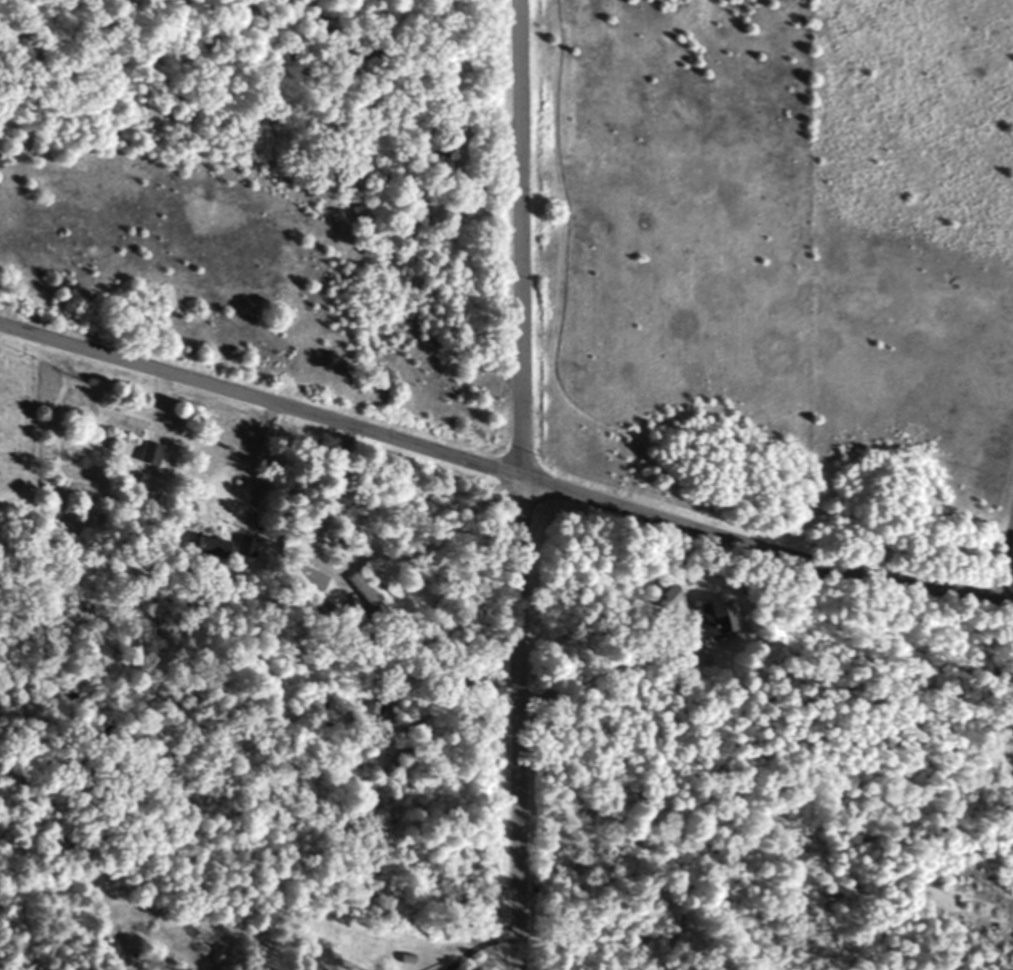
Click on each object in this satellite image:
building: (120, 424)
building: (146, 454)
road: (251, 466)
road: (504, 473)
road: (516, 484)
building: (241, 547)
building: (207, 548)
road: (1005, 559)
road: (360, 561)
building: (304, 581)
building: (356, 586)
building: (659, 592)
building: (714, 616)
road: (594, 676)

